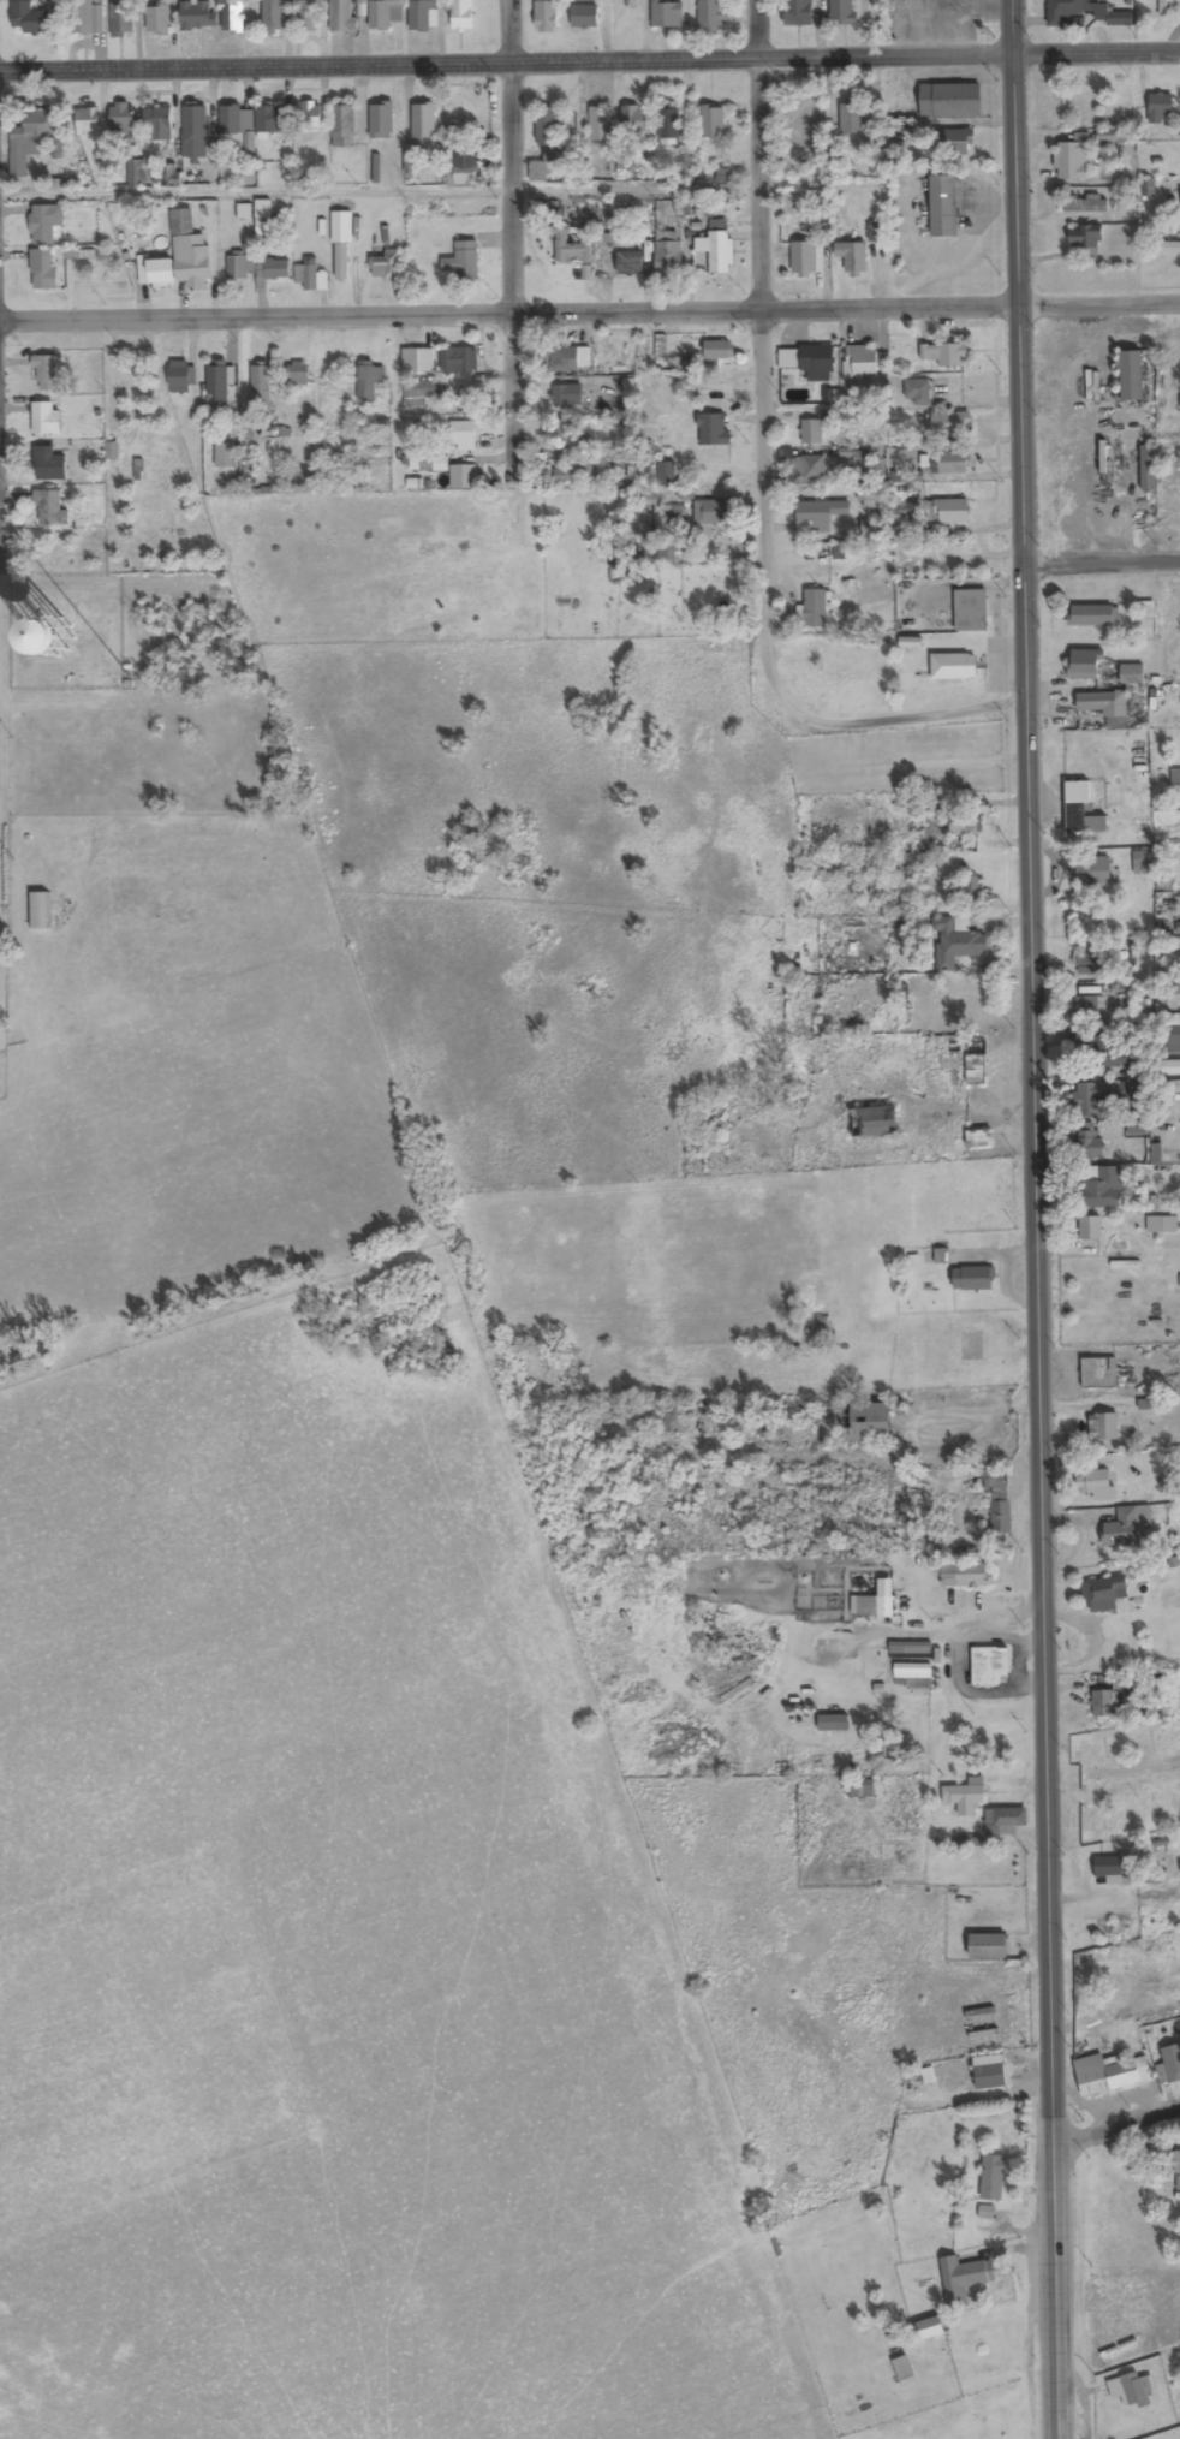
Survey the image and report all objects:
building: (1164, 7)
building: (1063, 11)
building: (842, 12)
building: (385, 13)
building: (798, 13)
building: (423, 14)
building: (546, 14)
building: (667, 14)
building: (198, 16)
building: (306, 16)
building: (461, 16)
building: (710, 16)
building: (85, 17)
building: (342, 17)
building: (584, 17)
building: (1112, 17)
building: (29, 18)
building: (273, 18)
building: (121, 19)
building: (157, 19)
road: (1096, 52)
road: (506, 66)
building: (949, 101)
building: (1160, 107)
building: (121, 118)
building: (310, 118)
building: (851, 119)
building: (268, 120)
building: (87, 121)
building: (381, 121)
building: (423, 121)
building: (713, 121)
building: (669, 123)
building: (634, 124)
building: (159, 125)
building: (230, 125)
building: (601, 125)
building: (901, 125)
building: (344, 126)
building: (549, 126)
building: (28, 142)
building: (953, 142)
building: (195, 147)
building: (410, 154)
building: (1073, 159)
building: (465, 169)
building: (537, 172)
road: (263, 195)
road: (4, 196)
building: (1085, 206)
building: (943, 207)
building: (262, 219)
building: (44, 224)
road: (518, 228)
building: (1085, 238)
building: (341, 248)
building: (571, 248)
building: (1173, 249)
building: (189, 252)
building: (721, 254)
building: (668, 255)
building: (852, 257)
building: (803, 260)
building: (464, 262)
building: (630, 264)
building: (387, 266)
building: (237, 269)
building: (43, 270)
building: (273, 270)
building: (155, 274)
building: (310, 275)
road: (594, 304)
road: (8, 329)
road: (764, 337)
building: (716, 350)
building: (944, 355)
building: (568, 358)
building: (787, 358)
building: (412, 361)
building: (459, 361)
building: (817, 362)
building: (860, 362)
building: (47, 374)
building: (297, 375)
building: (1131, 376)
building: (180, 377)
building: (369, 381)
building: (260, 383)
building: (216, 385)
building: (421, 392)
building: (918, 392)
building: (566, 395)
building: (46, 418)
building: (950, 423)
building: (713, 429)
building: (562, 430)
building: (811, 432)
building: (463, 435)
building: (225, 456)
building: (851, 457)
building: (946, 463)
building: (439, 464)
building: (48, 465)
building: (1148, 468)
building: (810, 469)
building: (574, 470)
building: (463, 476)
building: (49, 508)
building: (899, 508)
building: (709, 511)
building: (953, 511)
building: (822, 513)
road: (6, 522)
building: (657, 551)
road: (1101, 561)
road: (6, 565)
building: (815, 608)
building: (970, 611)
building: (1093, 615)
building: (48, 632)
building: (1085, 665)
building: (953, 666)
building: (1131, 674)
building: (1105, 707)
road: (889, 715)
building: (1081, 809)
building: (963, 822)
building: (1140, 862)
building: (1092, 870)
building: (40, 911)
building: (1179, 927)
building: (956, 942)
building: (969, 991)
building: (1084, 1009)
building: (1172, 1040)
building: (1084, 1042)
building: (942, 1051)
building: (975, 1070)
building: (1096, 1095)
building: (874, 1122)
building: (979, 1138)
road: (1033, 1160)
building: (1095, 1174)
building: (1090, 1229)
building: (973, 1279)
building: (971, 1351)
building: (1098, 1374)
building: (868, 1422)
building: (1103, 1427)
building: (1096, 1485)
building: (1000, 1517)
building: (1125, 1529)
building: (966, 1576)
building: (1103, 1590)
building: (877, 1601)
building: (911, 1661)
building: (989, 1666)
building: (833, 1724)
building: (860, 1789)
building: (964, 1798)
building: (1006, 1821)
building: (1114, 1869)
building: (1113, 1929)
building: (988, 1946)
building: (1172, 2063)
building: (989, 2072)
building: (1110, 2074)
road: (1116, 2125)
building: (1176, 2167)
building: (993, 2179)
building: (964, 2279)
building: (926, 2330)
building: (902, 2369)
road: (1055, 2380)
building: (1136, 2391)

